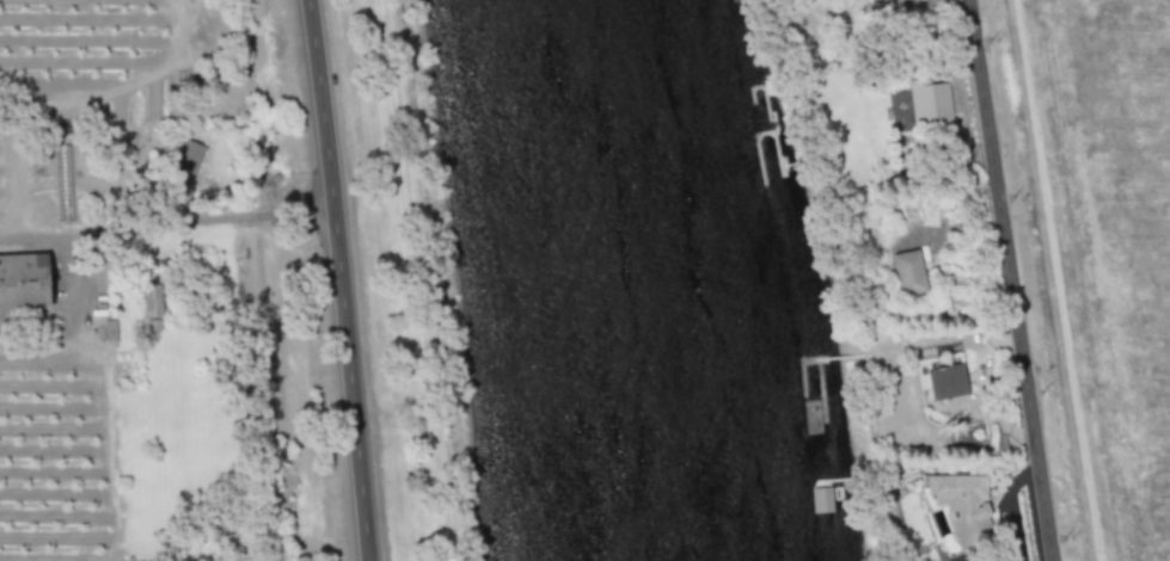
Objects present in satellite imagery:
building: (896, 5)
crop: (72, 45)
building: (929, 101)
building: (185, 160)
building: (63, 181)
road: (173, 222)
building: (908, 271)
road: (341, 279)
river: (624, 280)
road: (1012, 280)
building: (23, 283)
building: (152, 300)
building: (109, 329)
building: (944, 381)
crop: (174, 413)
building: (820, 499)
building: (962, 506)

